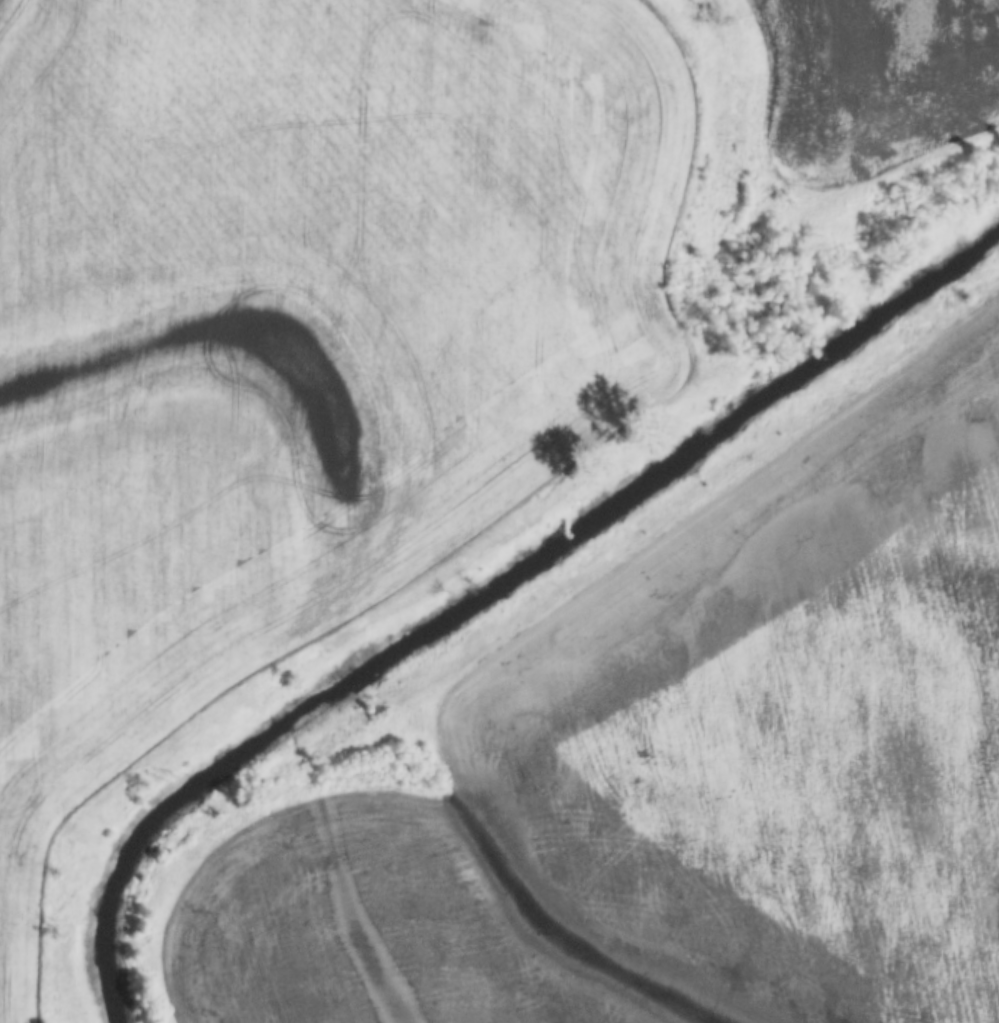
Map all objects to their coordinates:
crop: (877, 83)
crop: (292, 332)
crop: (682, 772)

